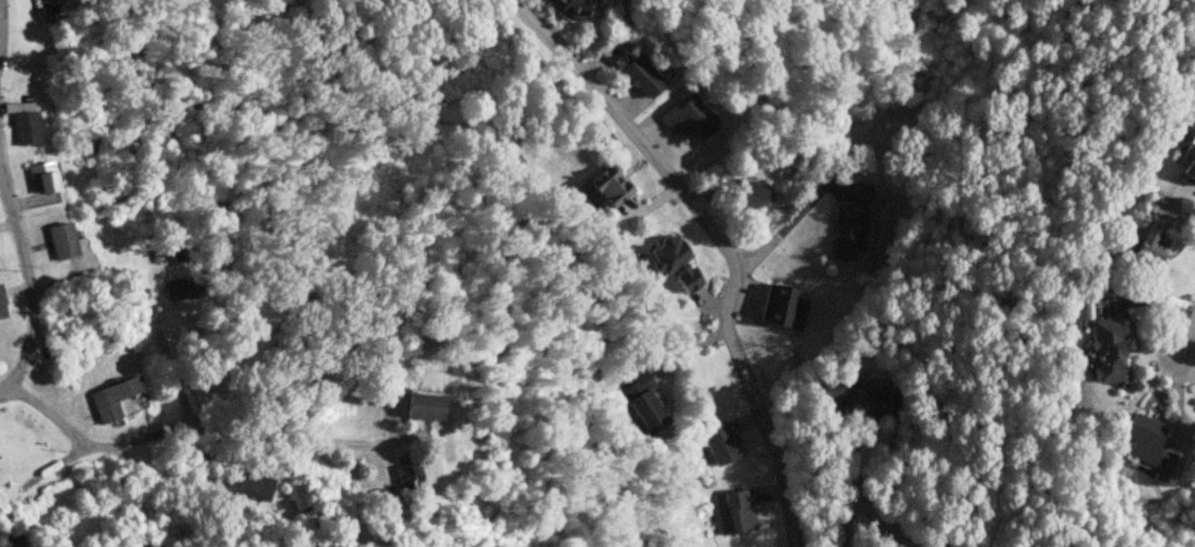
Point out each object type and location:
building: (574, 7)
building: (637, 72)
building: (687, 116)
building: (25, 127)
building: (1191, 138)
building: (1189, 167)
building: (43, 175)
building: (609, 185)
building: (861, 191)
building: (748, 193)
building: (848, 230)
building: (61, 240)
building: (1151, 241)
road: (718, 244)
building: (674, 262)
building: (181, 287)
building: (1, 306)
building: (781, 306)
road: (31, 333)
road: (1187, 345)
building: (1105, 348)
road: (5, 387)
building: (854, 397)
building: (118, 398)
building: (643, 402)
building: (424, 405)
building: (8, 416)
road: (226, 426)
building: (719, 441)
building: (1149, 447)
building: (407, 476)
building: (255, 485)
building: (737, 511)
building: (13, 540)

